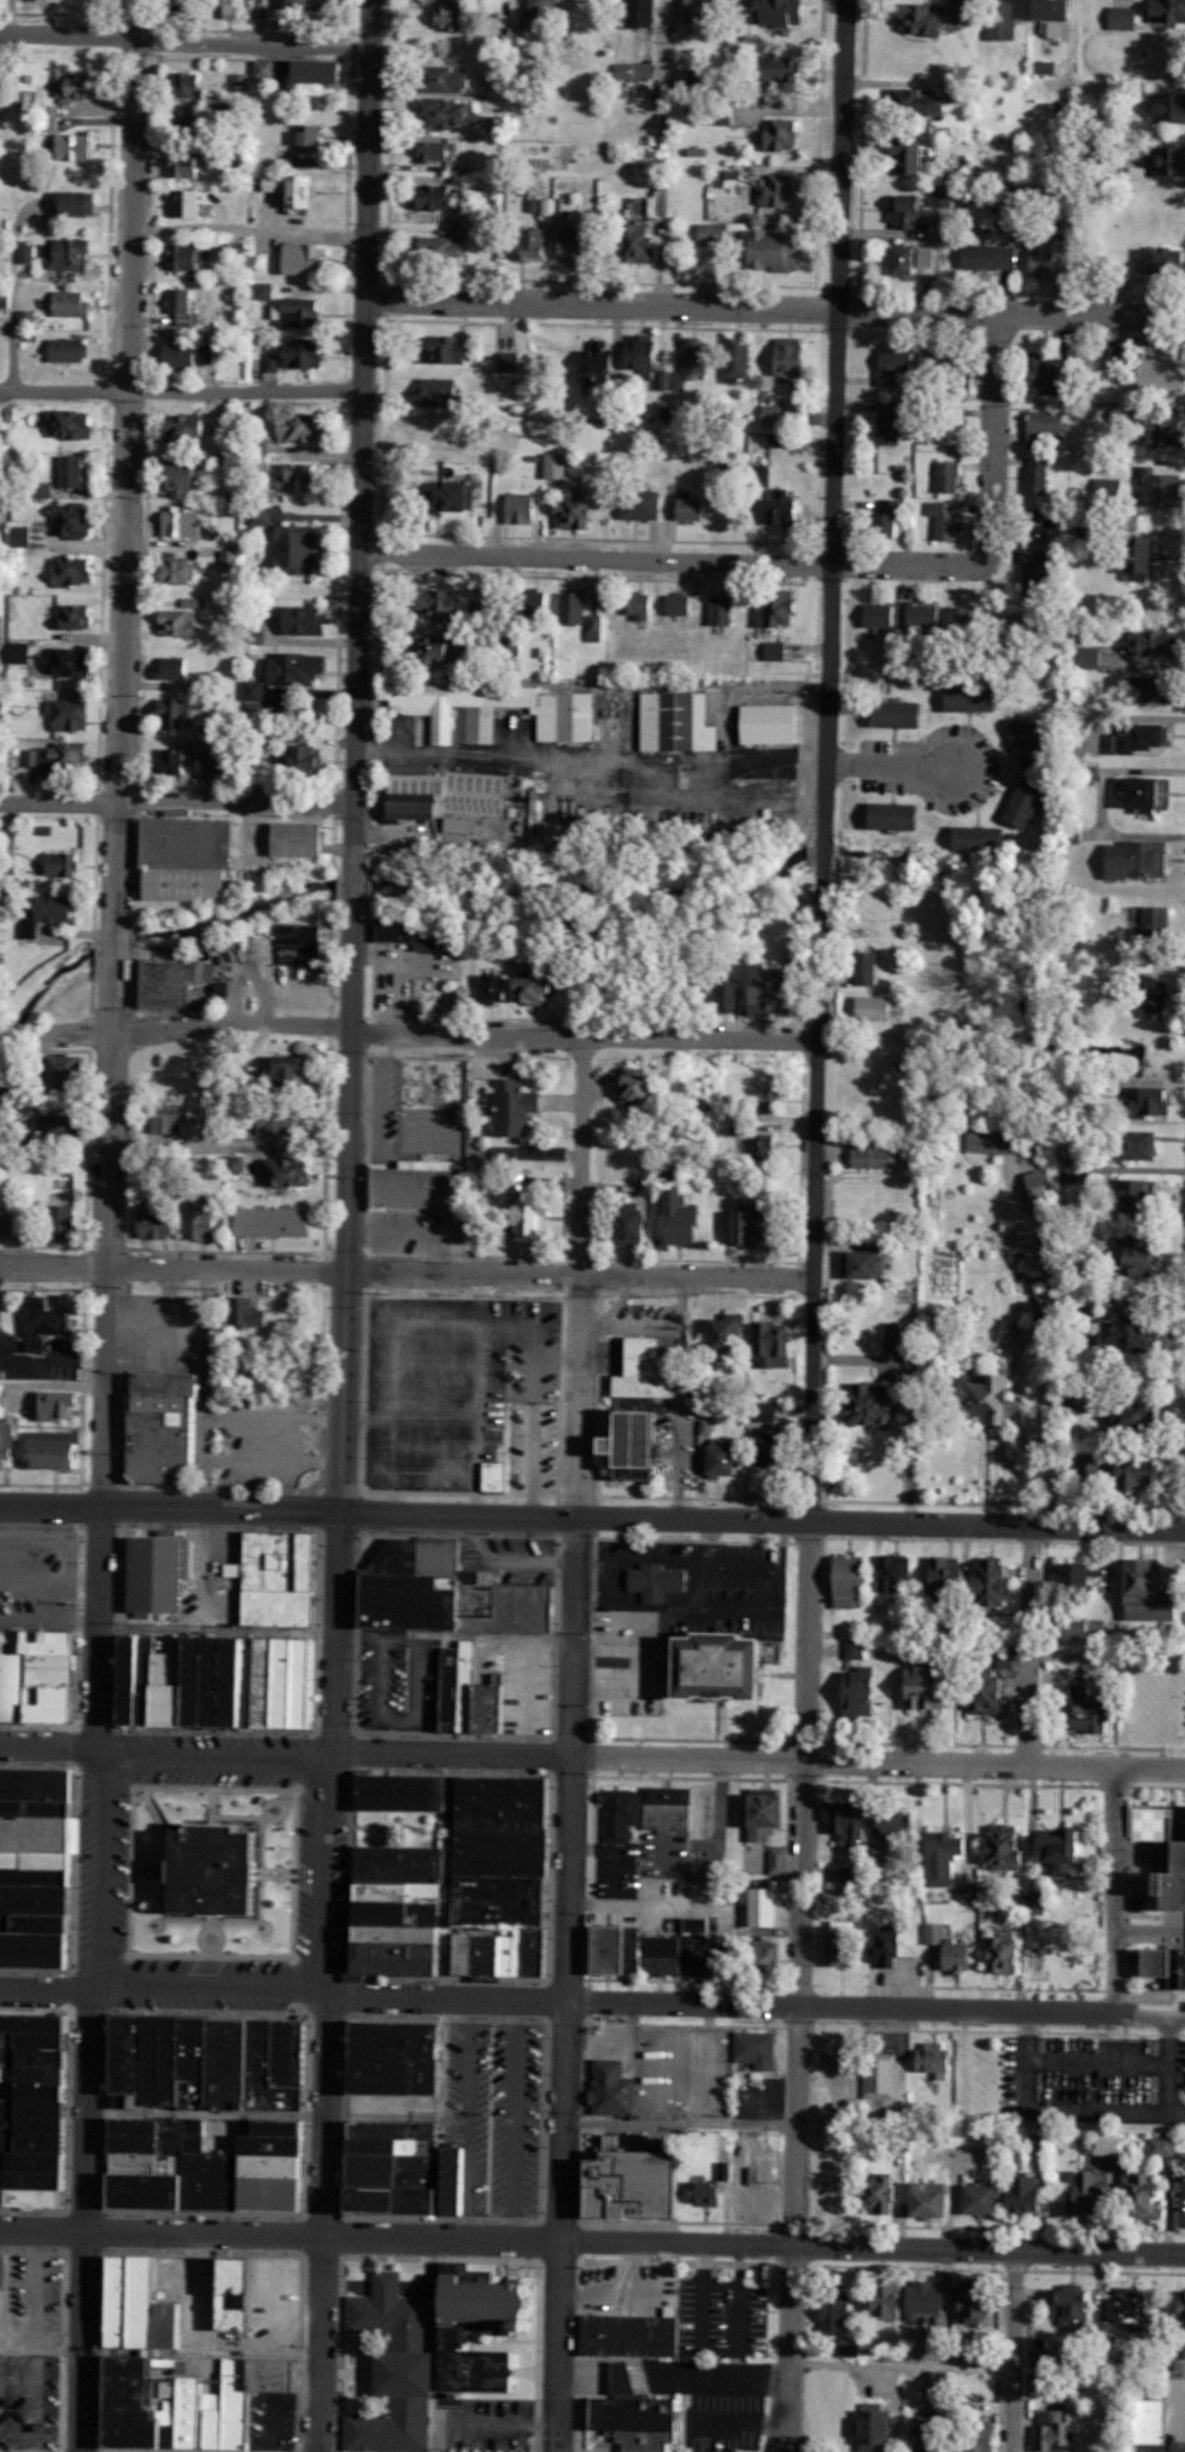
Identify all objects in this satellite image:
building: (178, 2)
building: (301, 4)
building: (542, 6)
building: (231, 7)
building: (705, 10)
building: (961, 10)
building: (1055, 10)
building: (1169, 10)
building: (644, 12)
building: (447, 13)
building: (1010, 17)
building: (1124, 17)
building: (922, 18)
building: (1058, 29)
road: (181, 42)
building: (1046, 66)
building: (782, 68)
building: (264, 69)
building: (323, 70)
building: (635, 70)
building: (452, 78)
building: (186, 81)
building: (239, 82)
building: (696, 82)
building: (78, 86)
building: (1136, 89)
building: (962, 92)
building: (919, 101)
building: (1169, 106)
building: (446, 113)
building: (188, 124)
building: (781, 134)
building: (309, 137)
building: (77, 145)
building: (434, 151)
building: (909, 153)
building: (1173, 159)
building: (189, 164)
building: (277, 183)
building: (780, 191)
building: (304, 193)
building: (943, 197)
building: (439, 198)
building: (659, 200)
building: (81, 203)
building: (188, 203)
building: (909, 211)
building: (714, 233)
building: (448, 242)
building: (533, 242)
building: (574, 244)
building: (640, 246)
building: (772, 250)
building: (28, 252)
building: (70, 253)
building: (187, 256)
building: (991, 257)
building: (306, 258)
building: (1043, 258)
building: (1167, 259)
building: (914, 261)
building: (264, 291)
building: (5, 298)
building: (72, 303)
building: (183, 306)
road: (773, 308)
building: (28, 318)
building: (451, 349)
building: (70, 350)
road: (8, 351)
building: (1111, 351)
building: (305, 353)
building: (190, 355)
building: (272, 357)
building: (792, 358)
building: (649, 359)
building: (738, 359)
building: (510, 361)
building: (599, 361)
building: (692, 361)
building: (946, 362)
building: (894, 365)
building: (1049, 374)
building: (1161, 374)
road: (180, 387)
building: (440, 392)
building: (610, 409)
building: (776, 415)
building: (72, 423)
building: (187, 427)
building: (890, 428)
building: (1045, 428)
building: (298, 429)
building: (1167, 431)
building: (948, 433)
building: (779, 440)
building: (557, 466)
building: (72, 472)
building: (758, 474)
building: (1038, 475)
building: (184, 476)
building: (299, 476)
building: (948, 476)
building: (1108, 487)
building: (1162, 488)
building: (453, 495)
building: (406, 499)
building: (640, 504)
building: (522, 508)
building: (786, 508)
building: (691, 509)
building: (574, 510)
building: (258, 515)
building: (890, 515)
road: (987, 517)
building: (945, 519)
building: (74, 520)
building: (183, 522)
building: (20, 536)
building: (297, 549)
road: (592, 556)
building: (229, 560)
building: (1145, 562)
building: (75, 569)
building: (180, 572)
building: (1036, 572)
building: (446, 603)
building: (680, 604)
building: (573, 605)
building: (641, 605)
building: (722, 610)
building: (489, 613)
building: (776, 614)
building: (880, 615)
building: (74, 616)
building: (925, 616)
building: (304, 620)
building: (178, 621)
building: (961, 621)
building: (596, 627)
building: (1013, 630)
building: (1157, 642)
building: (441, 649)
building: (775, 650)
building: (19, 652)
building: (1089, 656)
building: (69, 662)
building: (174, 667)
building: (298, 667)
building: (1151, 689)
building: (253, 690)
building: (972, 698)
building: (274, 707)
building: (174, 712)
building: (70, 714)
building: (901, 714)
building: (756, 720)
building: (675, 722)
building: (464, 727)
building: (1150, 738)
building: (1029, 741)
road: (352, 751)
building: (65, 756)
building: (30, 757)
building: (172, 760)
building: (312, 761)
road: (588, 761)
building: (211, 762)
road: (887, 763)
building: (447, 795)
building: (1149, 795)
road: (175, 800)
building: (1028, 801)
building: (898, 815)
building: (460, 825)
building: (982, 838)
building: (288, 839)
building: (176, 843)
building: (1139, 859)
building: (63, 864)
road: (115, 874)
building: (49, 913)
building: (1157, 920)
building: (421, 934)
building: (300, 943)
building: (867, 967)
building: (541, 985)
building: (497, 988)
building: (779, 991)
building: (729, 995)
building: (1157, 997)
road: (815, 1000)
building: (876, 1008)
road: (230, 1020)
road: (581, 1031)
building: (64, 1069)
building: (291, 1069)
building: (640, 1089)
building: (768, 1100)
building: (1149, 1101)
building: (517, 1108)
building: (171, 1119)
building: (284, 1122)
building: (64, 1128)
building: (997, 1140)
building: (1145, 1146)
building: (765, 1147)
building: (885, 1157)
building: (236, 1164)
building: (292, 1172)
building: (417, 1184)
building: (1042, 1186)
building: (649, 1187)
building: (1143, 1196)
building: (533, 1219)
building: (686, 1219)
building: (762, 1221)
building: (6, 1222)
building: (204, 1222)
building: (276, 1222)
building: (66, 1223)
building: (158, 1224)
building: (638, 1228)
building: (1146, 1256)
road: (172, 1264)
building: (870, 1264)
building: (1036, 1264)
road: (579, 1269)
road: (166, 1293)
building: (1089, 1301)
building: (250, 1313)
building: (46, 1318)
road: (154, 1322)
building: (1134, 1333)
building: (733, 1334)
building: (898, 1334)
building: (36, 1344)
building: (775, 1346)
building: (650, 1370)
road: (204, 1383)
parking lot: (459, 1388)
road: (574, 1392)
building: (996, 1398)
building: (1069, 1403)
building: (876, 1404)
building: (59, 1405)
building: (1133, 1418)
building: (706, 1427)
building: (164, 1428)
road: (264, 1438)
road: (291, 1438)
road: (236, 1440)
building: (7, 1444)
building: (645, 1446)
building: (772, 1446)
building: (53, 1451)
building: (728, 1461)
building: (1138, 1473)
building: (498, 1476)
road: (168, 1502)
road: (759, 1516)
road: (117, 1517)
parking lot: (515, 1556)
building: (886, 1570)
parking lot: (34, 1572)
building: (935, 1572)
building: (1063, 1573)
building: (147, 1575)
building: (284, 1579)
building: (839, 1580)
building: (650, 1581)
building: (980, 1581)
parking lot: (728, 1585)
building: (1137, 1592)
building: (448, 1603)
building: (1075, 1627)
road: (1028, 1640)
building: (850, 1649)
parking lot: (627, 1655)
building: (705, 1664)
parking lot: (381, 1672)
building: (40, 1675)
building: (223, 1681)
building: (915, 1689)
building: (847, 1691)
building: (980, 1691)
building: (464, 1693)
building: (1078, 1715)
road: (48, 1743)
road: (325, 1746)
road: (121, 1751)
road: (445, 1751)
road: (210, 1752)
road: (304, 1755)
road: (843, 1757)
road: (1150, 1763)
road: (102, 1768)
road: (321, 1774)
building: (389, 1792)
road: (276, 1800)
road: (148, 1804)
building: (662, 1808)
building: (615, 1814)
building: (752, 1816)
building: (884, 1819)
park: (397, 1820)
building: (839, 1820)
helipad: (1143, 1824)
road: (386, 1825)
building: (996, 1848)
building: (870, 1850)
building: (1051, 1851)
building: (938, 1857)
road: (72, 1859)
building: (1162, 1866)
building: (40, 1867)
road: (275, 1867)
road: (100, 1868)
building: (222, 1871)
road: (568, 1875)
road: (1115, 1886)
building: (451, 1890)
building: (962, 1892)
building: (1029, 1903)
building: (755, 1906)
road: (258, 1915)
road: (205, 1933)
building: (833, 1941)
building: (687, 1945)
building: (881, 1947)
building: (944, 1949)
road: (287, 1951)
building: (623, 1951)
building: (992, 1954)
building: (755, 1956)
road: (98, 1957)
road: (315, 1965)
building: (1158, 1965)
road: (116, 1976)
road: (542, 1978)
road: (206, 1979)
road: (297, 1979)
road: (47, 1989)
road: (442, 1995)
road: (840, 2002)
road: (1149, 2011)
building: (750, 2048)
building: (386, 2058)
building: (926, 2059)
road: (1168, 2060)
road: (1097, 2064)
parking lot: (1092, 2067)
building: (875, 2074)
building: (605, 2089)
parking lot: (493, 2107)
building: (39, 2109)
road: (1058, 2111)
building: (277, 2113)
building: (603, 2142)
building: (1034, 2142)
building: (1099, 2144)
building: (1156, 2146)
building: (393, 2171)
building: (751, 2175)
building: (621, 2183)
parking lot: (1184, 2184)
building: (1079, 2190)
building: (697, 2193)
building: (1133, 2193)
building: (1015, 2196)
building: (921, 2199)
building: (973, 2199)
road: (300, 2210)
road: (83, 2218)
road: (319, 2220)
road: (559, 2224)
road: (791, 2226)
road: (159, 2228)
road: (752, 2241)
parking lot: (4, 2288)
building: (241, 2290)
building: (874, 2298)
building: (917, 2298)
building: (1130, 2302)
building: (966, 2304)
building: (1064, 2304)
building: (123, 2307)
building: (826, 2307)
building: (1178, 2307)
parking lot: (721, 2312)
building: (1098, 2331)
building: (416, 2348)
road: (1010, 2351)
building: (966, 2354)
road: (917, 2365)
building: (467, 2369)
building: (251, 2395)
building: (154, 2403)
parking lot: (720, 2417)
building: (629, 2421)
building: (863, 2429)
building: (1049, 2430)
building: (970, 2435)

